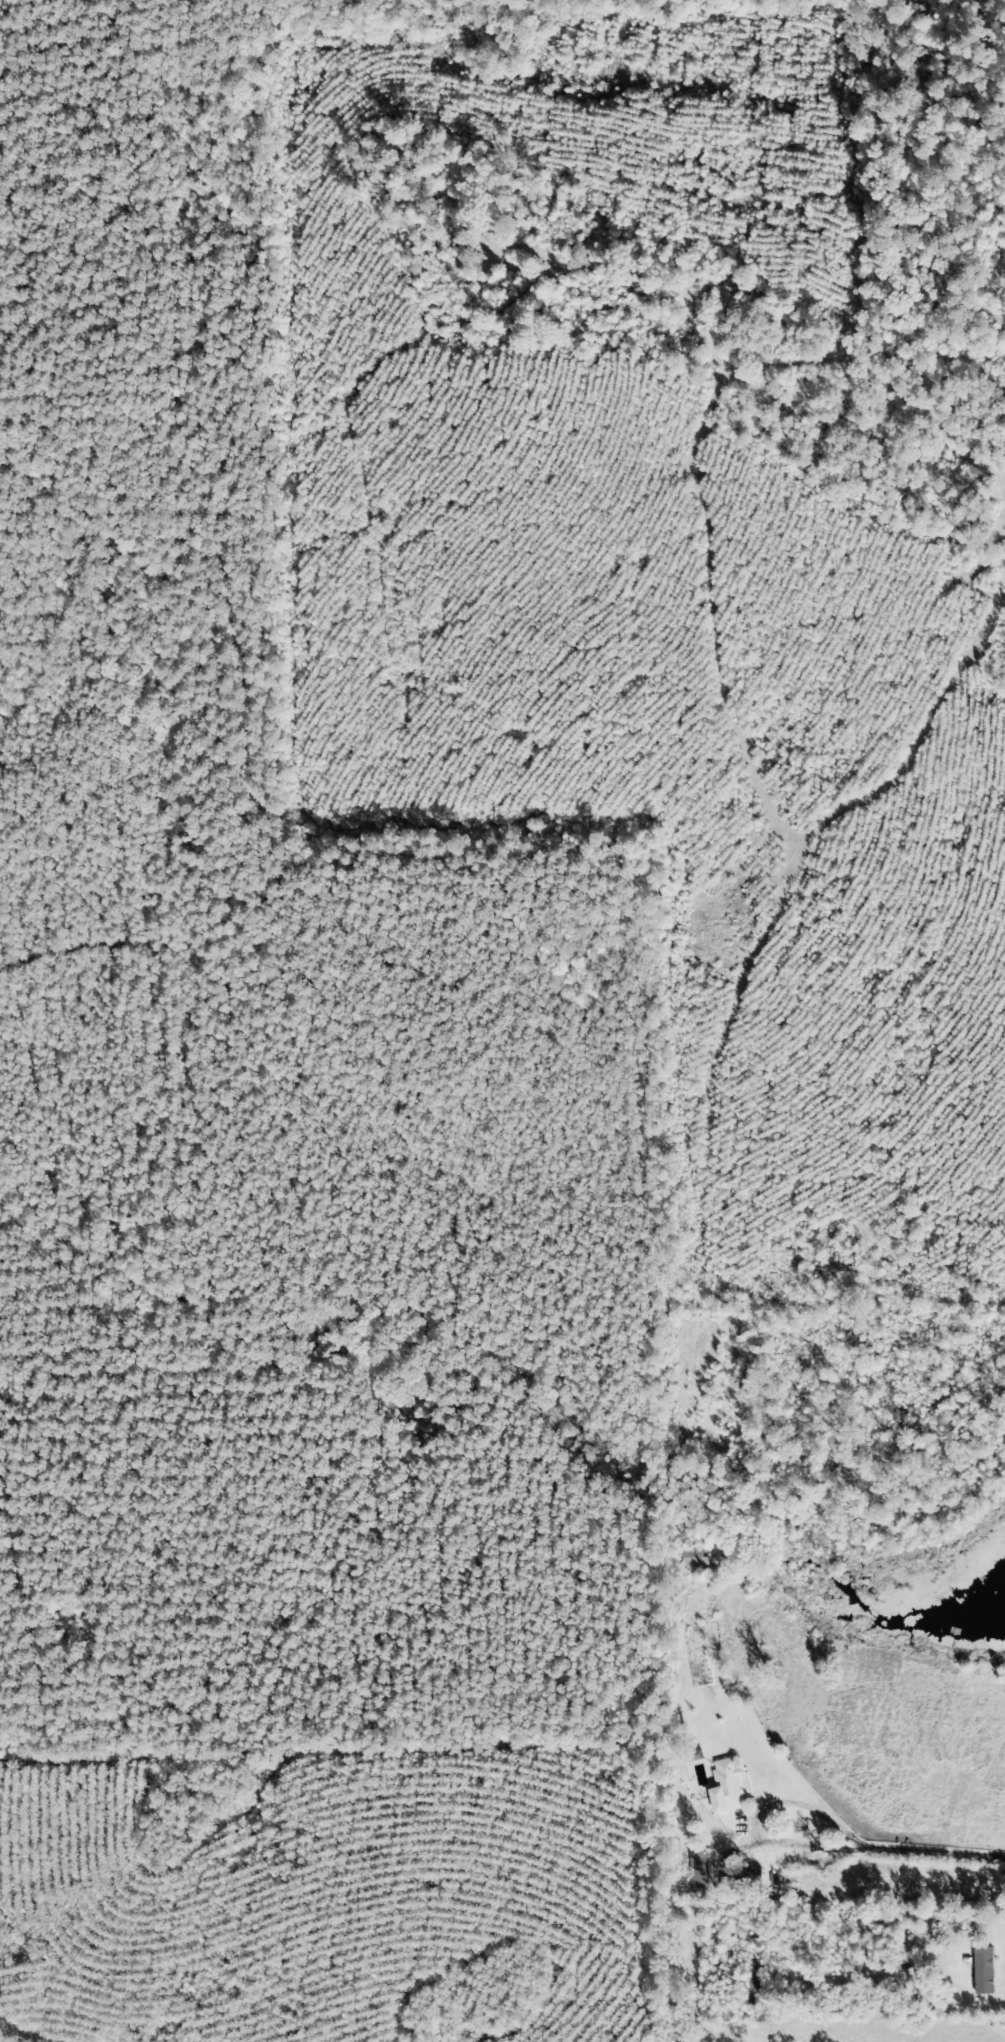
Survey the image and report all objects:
road: (203, 798)
building: (689, 1557)
building: (723, 1786)
road: (880, 1850)
road: (910, 1935)

